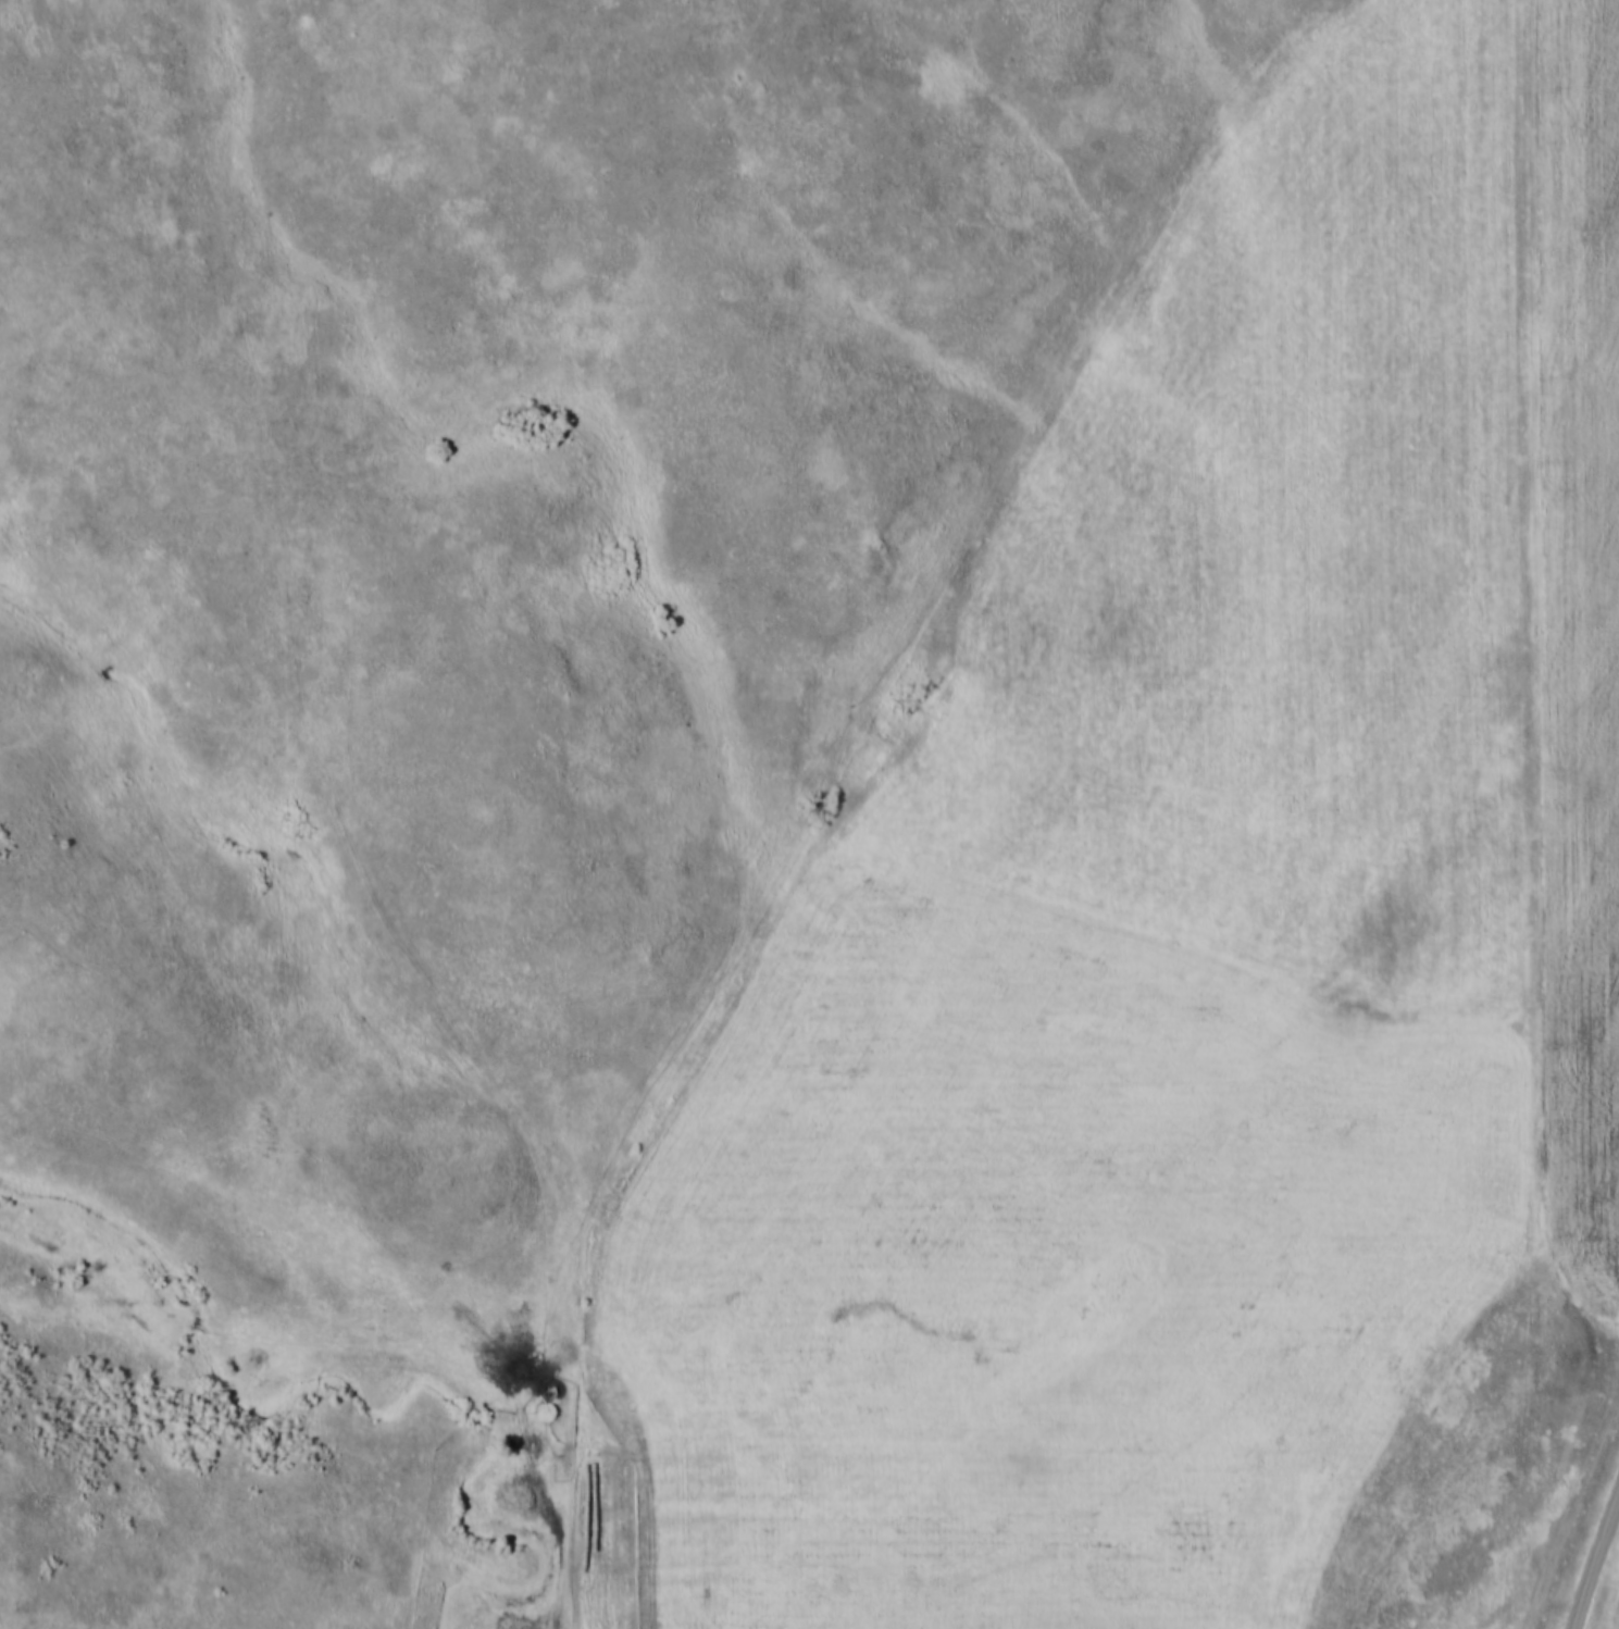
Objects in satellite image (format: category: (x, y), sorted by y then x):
road: (1537, 1270)
road: (1597, 1567)

